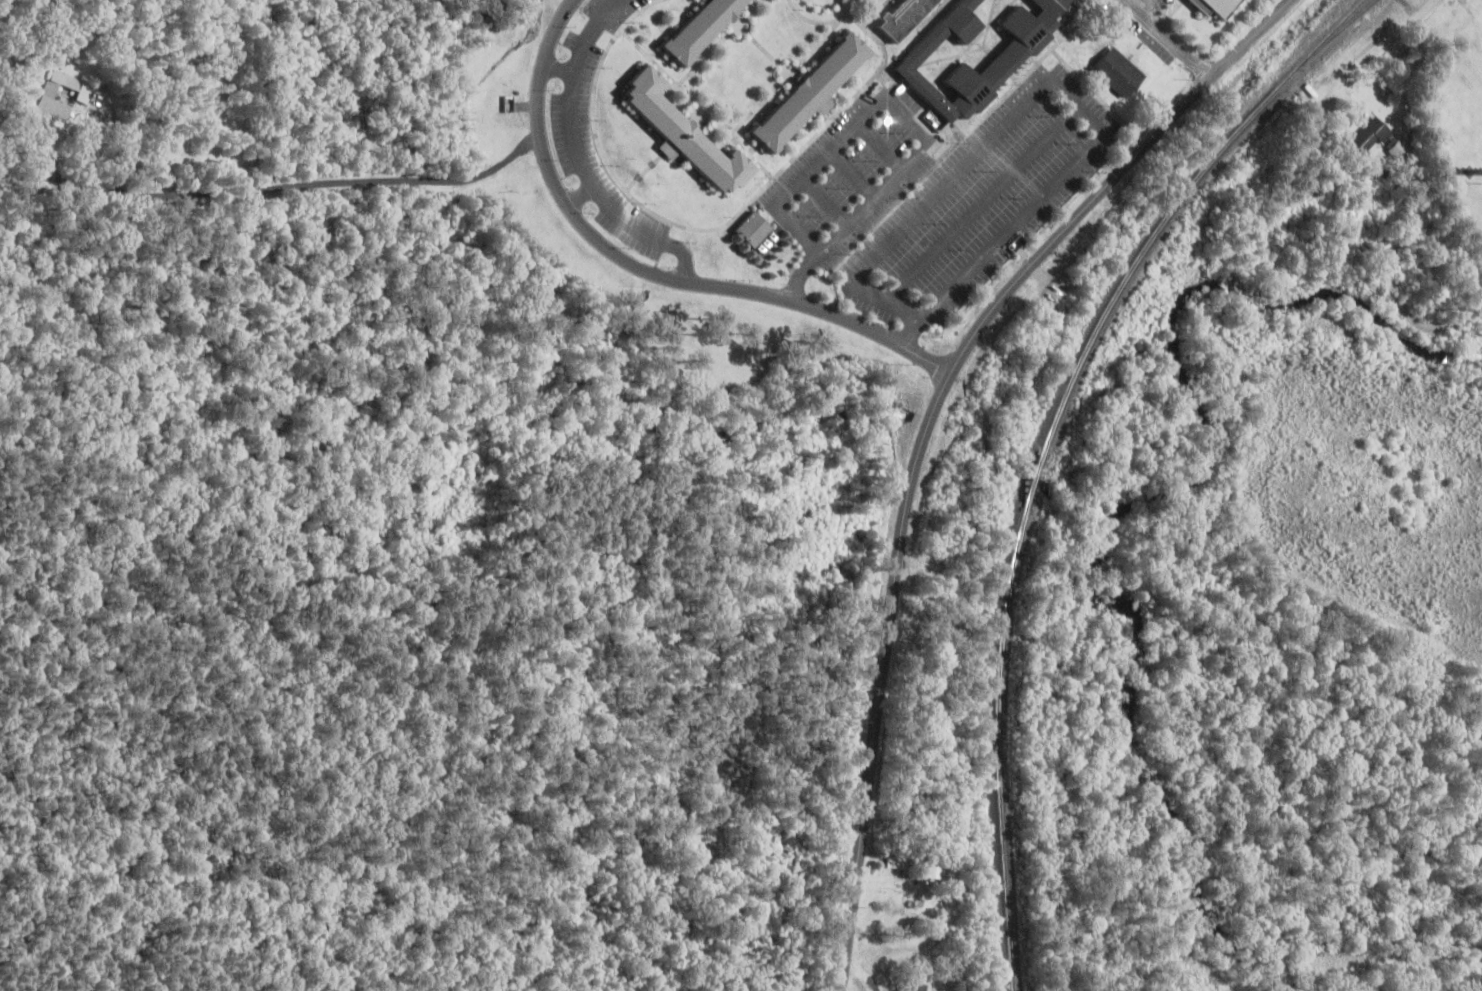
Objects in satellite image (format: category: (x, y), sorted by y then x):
road: (823, 4)
building: (1212, 5)
road: (1412, 7)
road: (1151, 8)
parking lot: (610, 10)
road: (1150, 10)
road: (638, 12)
building: (900, 16)
road: (823, 22)
road: (1166, 24)
road: (1079, 25)
building: (696, 28)
road: (1168, 38)
road: (1388, 41)
road: (720, 43)
road: (764, 49)
building: (1005, 57)
road: (557, 64)
building: (1116, 70)
road: (786, 77)
road: (694, 83)
building: (78, 88)
building: (805, 91)
road: (1070, 91)
road: (698, 103)
road: (996, 105)
road: (731, 119)
building: (677, 131)
building: (1371, 133)
parking lot: (596, 152)
road: (580, 161)
road: (643, 172)
parking lot: (854, 172)
road: (275, 186)
road: (577, 192)
parking lot: (983, 200)
road: (982, 201)
road: (728, 222)
building: (749, 227)
road: (646, 269)
road: (901, 307)
road: (925, 430)
railway: (1044, 444)
river: (1130, 522)
building: (921, 986)

